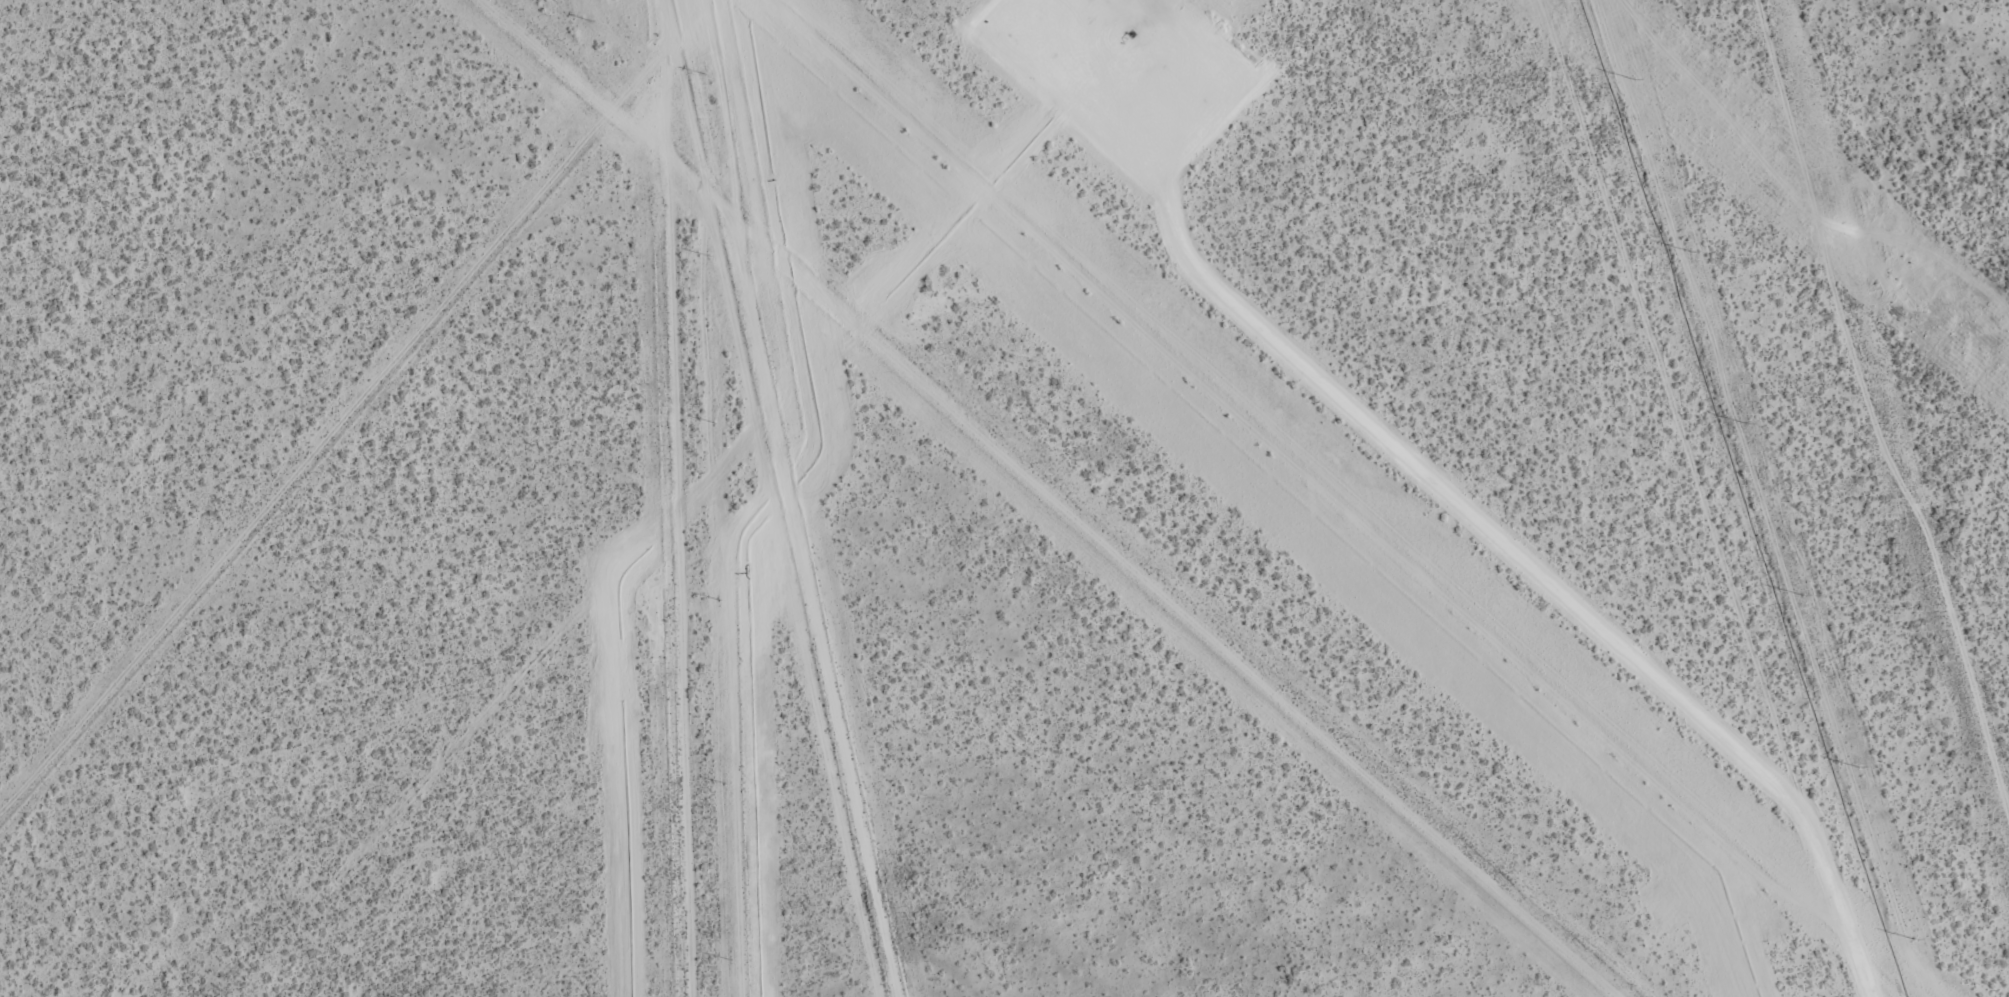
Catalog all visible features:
power tower: (1633, 80)
power tower: (1689, 253)
power tower: (1899, 269)
power tower: (1745, 423)
power tower: (1801, 596)
power tower: (1858, 768)
power tower: (1914, 939)

